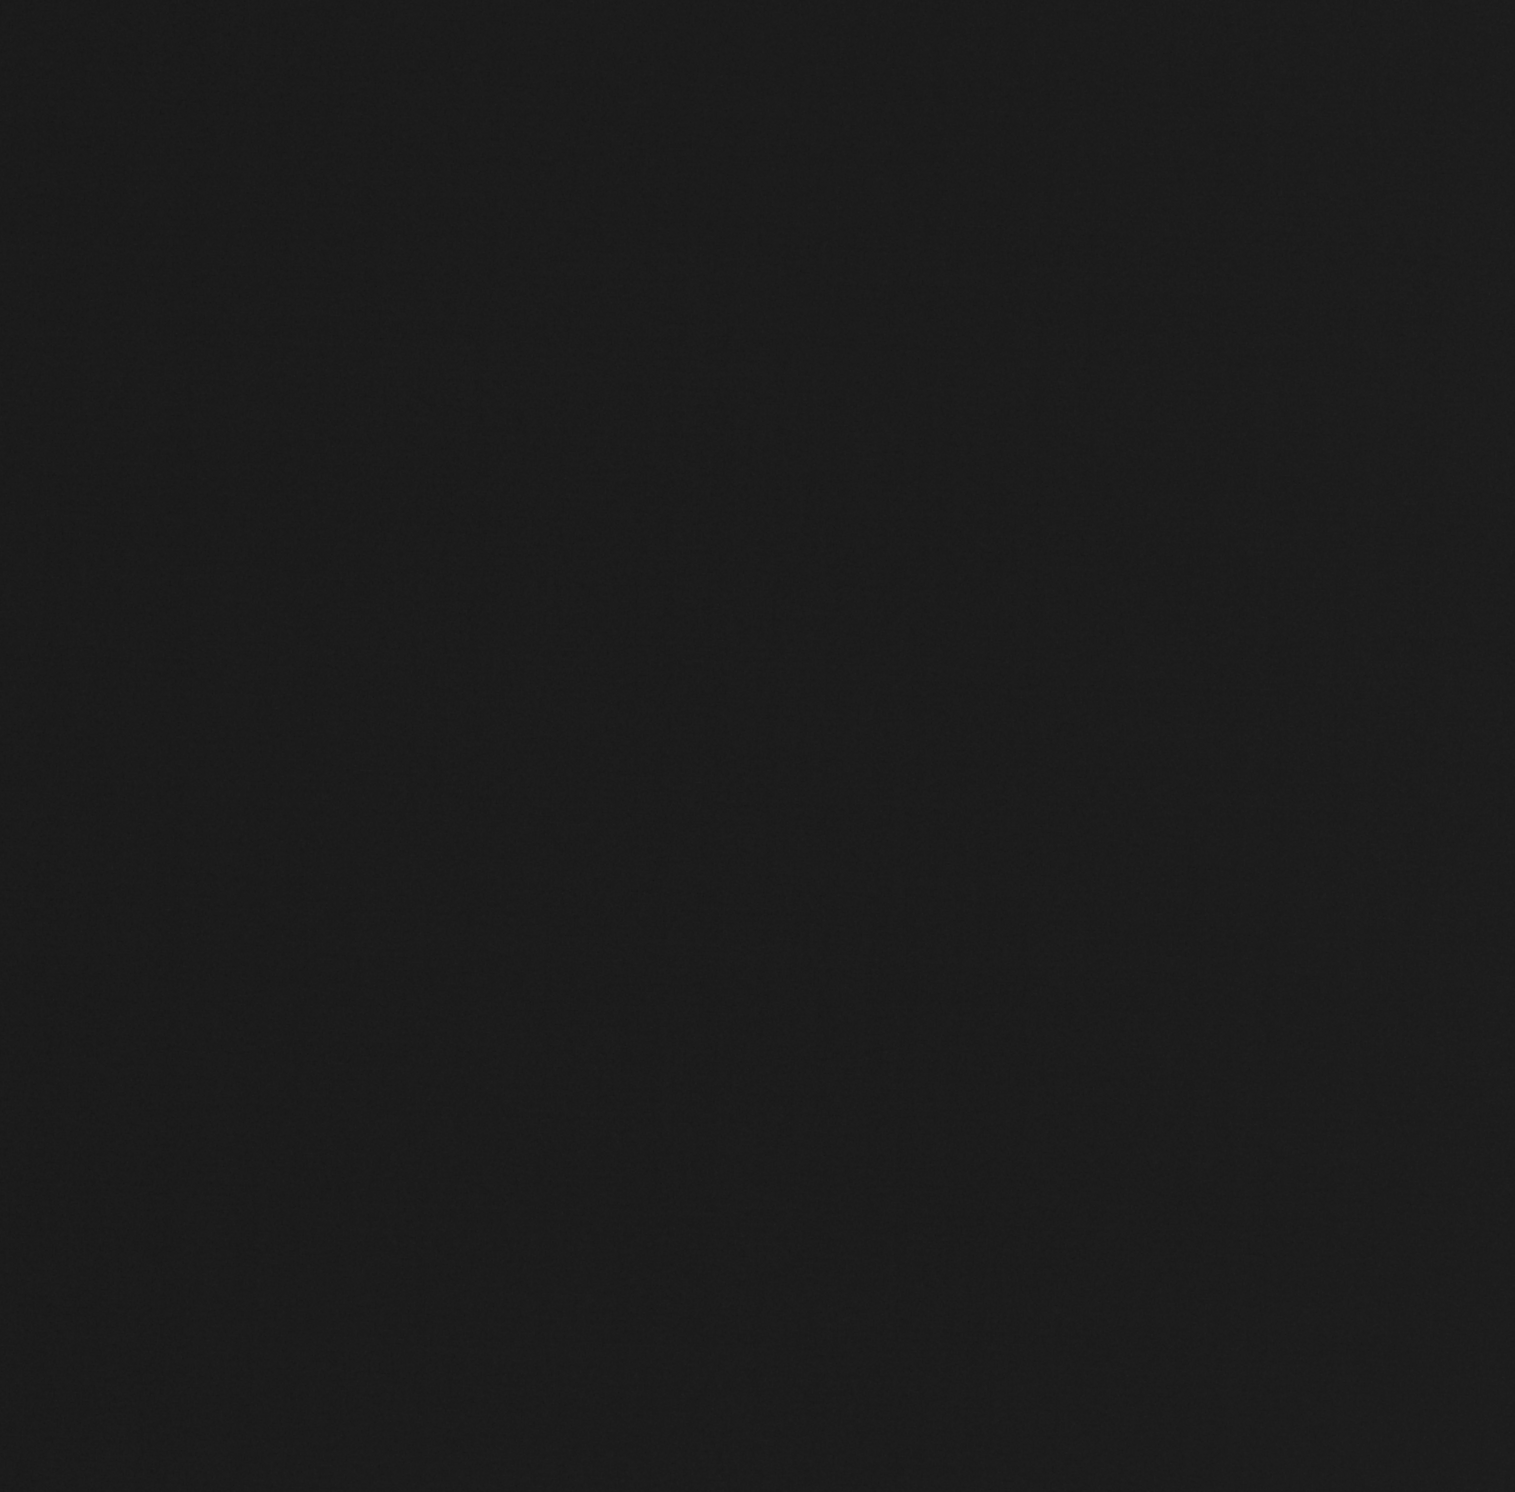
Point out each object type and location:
river: (756, 1389)

